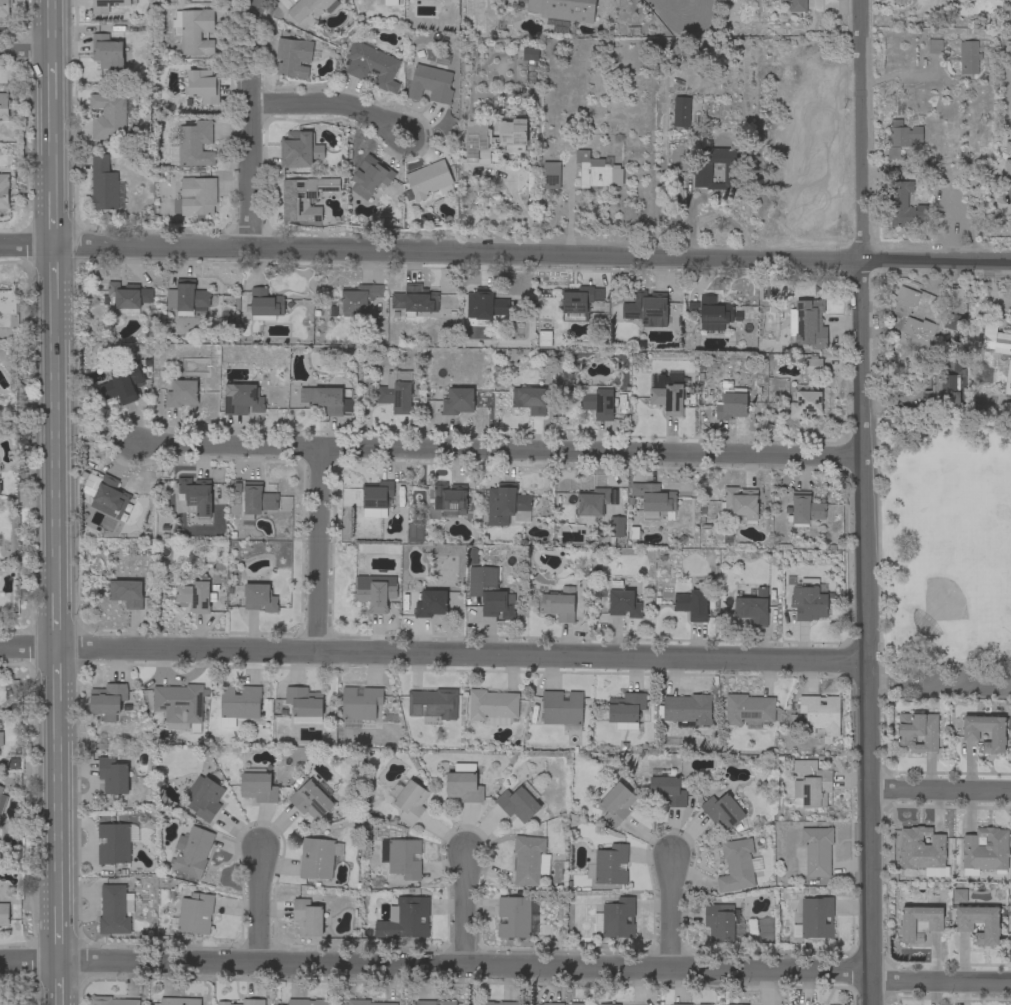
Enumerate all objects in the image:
building: (386, 2)
building: (108, 5)
building: (795, 5)
building: (4, 8)
building: (308, 8)
building: (562, 12)
road: (52, 25)
building: (194, 30)
building: (935, 46)
road: (26, 51)
building: (107, 52)
building: (529, 54)
building: (293, 57)
building: (969, 57)
building: (372, 66)
road: (53, 80)
building: (432, 81)
building: (201, 85)
building: (4, 105)
road: (333, 106)
building: (680, 111)
building: (110, 114)
road: (253, 124)
building: (902, 137)
building: (493, 139)
building: (193, 145)
building: (1007, 147)
road: (54, 148)
building: (299, 149)
building: (1007, 168)
building: (597, 171)
building: (702, 173)
building: (892, 174)
building: (551, 175)
building: (371, 178)
building: (429, 180)
building: (105, 185)
building: (4, 191)
building: (197, 196)
building: (305, 198)
building: (905, 206)
road: (54, 216)
road: (505, 254)
building: (129, 297)
building: (186, 297)
building: (359, 299)
building: (415, 299)
building: (905, 300)
building: (579, 302)
building: (265, 305)
building: (485, 305)
building: (647, 309)
building: (710, 313)
building: (952, 321)
building: (808, 324)
building: (919, 331)
building: (544, 338)
building: (995, 339)
building: (813, 365)
building: (1008, 380)
building: (123, 384)
building: (396, 392)
building: (666, 392)
building: (943, 392)
building: (181, 394)
building: (243, 400)
building: (327, 400)
building: (530, 400)
building: (458, 401)
building: (597, 401)
building: (730, 402)
building: (805, 404)
road: (56, 415)
road: (497, 451)
building: (106, 494)
building: (195, 496)
building: (376, 499)
building: (449, 499)
building: (654, 499)
building: (256, 500)
building: (741, 502)
road: (866, 502)
building: (592, 503)
building: (507, 505)
building: (805, 509)
building: (616, 528)
building: (415, 531)
park: (946, 542)
road: (322, 552)
building: (473, 556)
building: (375, 592)
building: (126, 593)
building: (490, 593)
building: (196, 595)
building: (259, 598)
building: (808, 598)
building: (623, 601)
building: (692, 603)
building: (431, 604)
building: (559, 604)
park: (942, 604)
building: (753, 607)
road: (57, 617)
road: (434, 655)
road: (57, 680)
road: (940, 686)
building: (108, 700)
building: (433, 703)
building: (239, 704)
building: (304, 704)
building: (180, 705)
building: (359, 705)
building: (493, 707)
building: (562, 709)
building: (688, 709)
building: (626, 710)
building: (749, 710)
building: (821, 715)
building: (918, 731)
building: (970, 734)
building: (1, 738)
building: (113, 775)
building: (463, 784)
building: (810, 784)
building: (258, 785)
building: (666, 788)
road: (940, 791)
building: (205, 797)
building: (311, 799)
building: (2, 800)
building: (409, 801)
building: (519, 802)
building: (617, 803)
road: (58, 806)
building: (722, 810)
building: (116, 842)
building: (817, 850)
building: (192, 851)
building: (923, 851)
building: (985, 851)
building: (401, 857)
building: (318, 858)
building: (529, 859)
building: (610, 865)
building: (738, 865)
building: (959, 896)
road: (259, 904)
building: (115, 909)
road: (465, 910)
road: (671, 911)
building: (4, 914)
building: (194, 914)
building: (307, 917)
building: (517, 917)
building: (615, 918)
building: (814, 918)
building: (405, 919)
building: (934, 923)
building: (723, 924)
building: (964, 925)
road: (59, 929)
road: (507, 966)
road: (59, 982)
building: (111, 1001)
building: (179, 1001)
building: (245, 1002)
building: (307, 1002)
building: (366, 1002)
building: (425, 1002)
building: (448, 1002)
building: (498, 1003)
building: (553, 1003)
building: (577, 1004)
building: (609, 1004)
building: (681, 1004)
building: (704, 1004)
building: (734, 1004)

